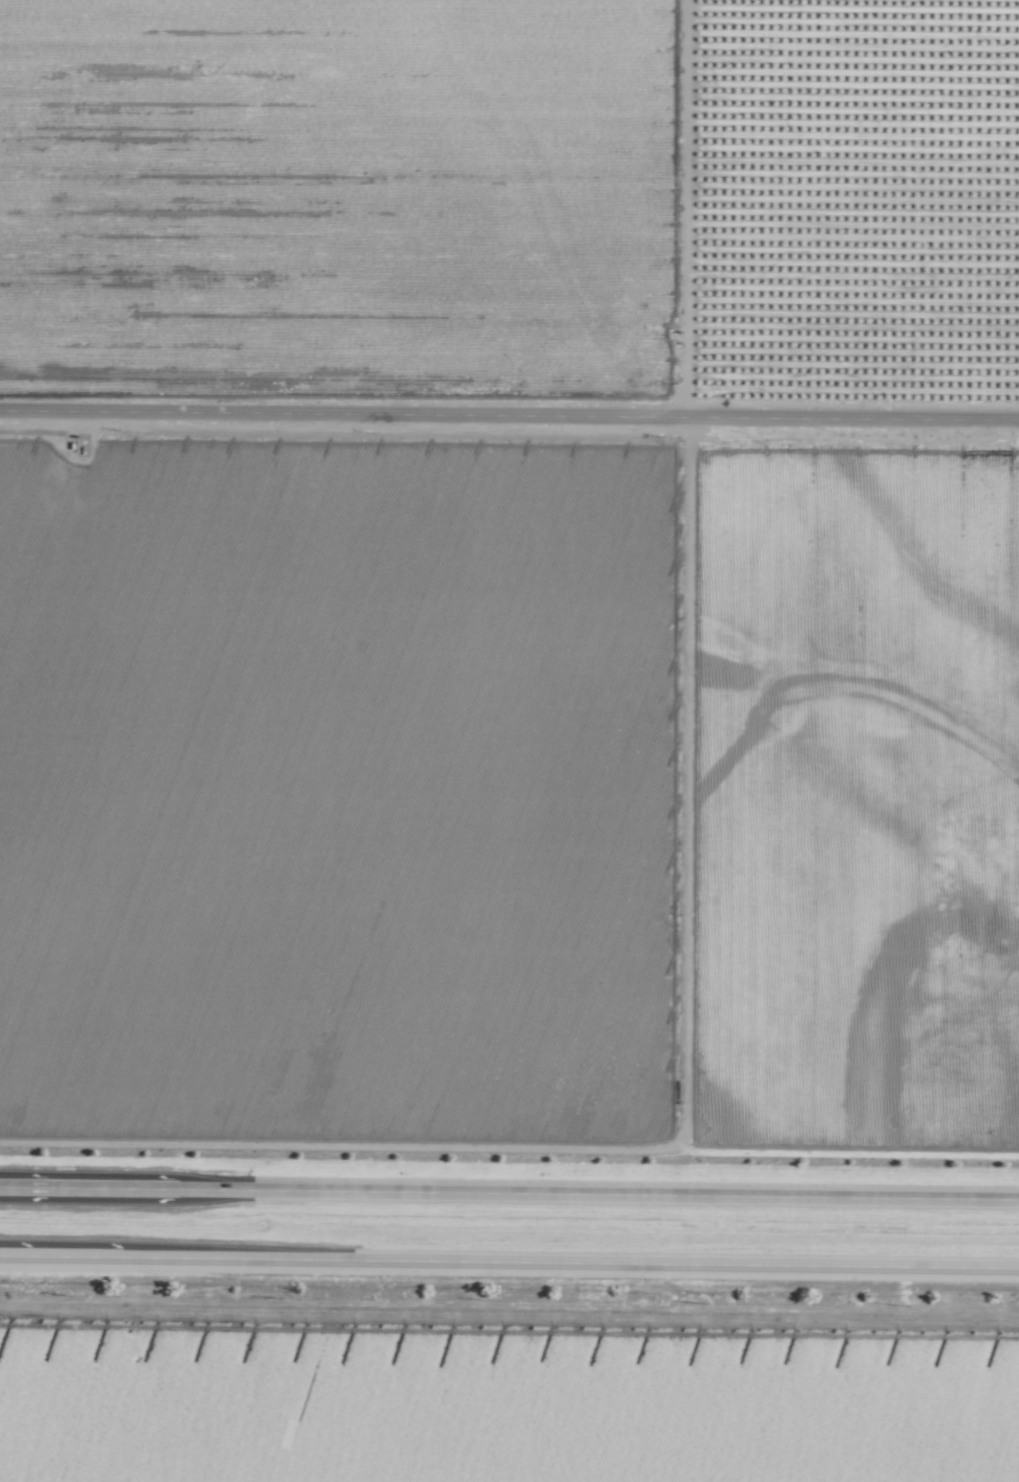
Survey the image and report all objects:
road: (509, 418)
road: (509, 1194)
road: (509, 1261)
road: (509, 1314)

